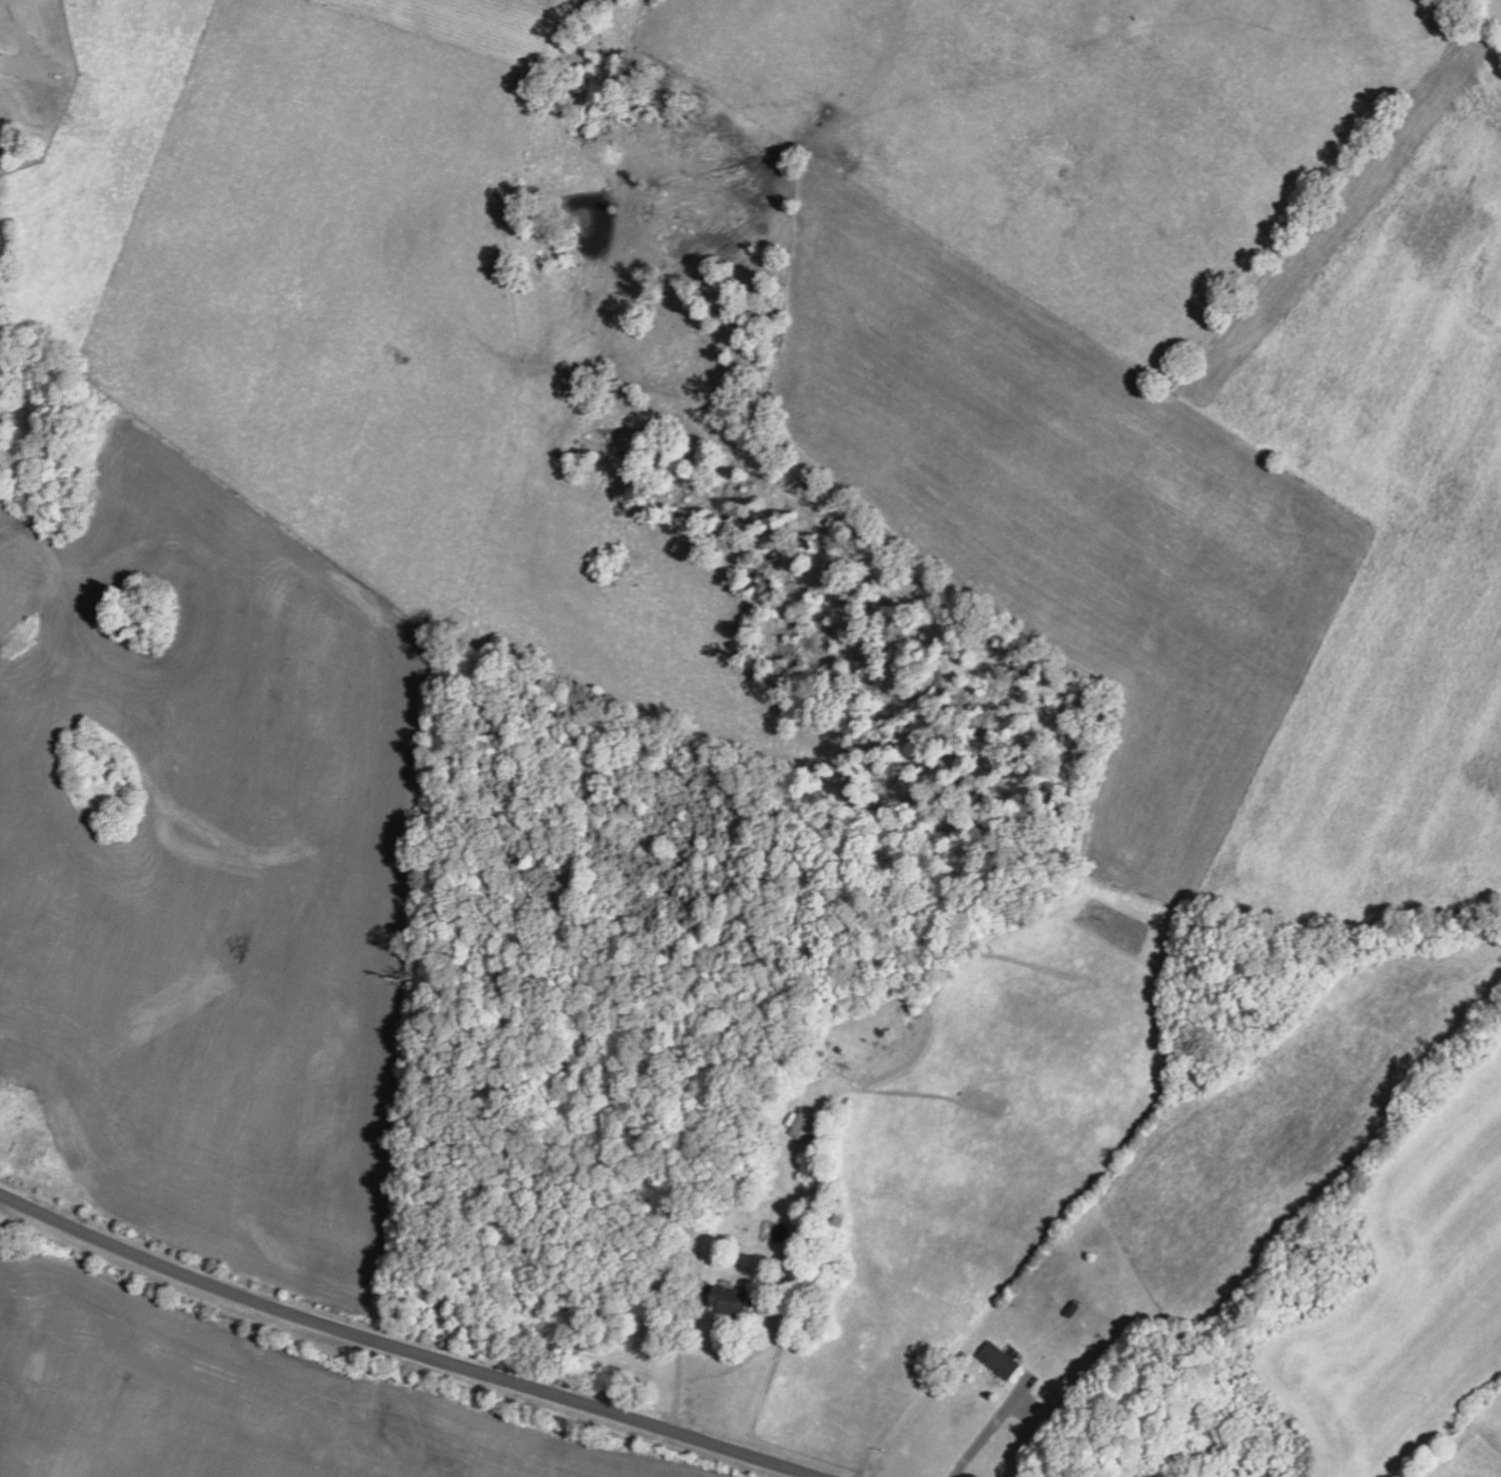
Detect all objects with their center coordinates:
road: (22, 33)
building: (728, 1298)
road: (403, 1349)
road: (677, 1359)
building: (997, 1359)
road: (991, 1428)

